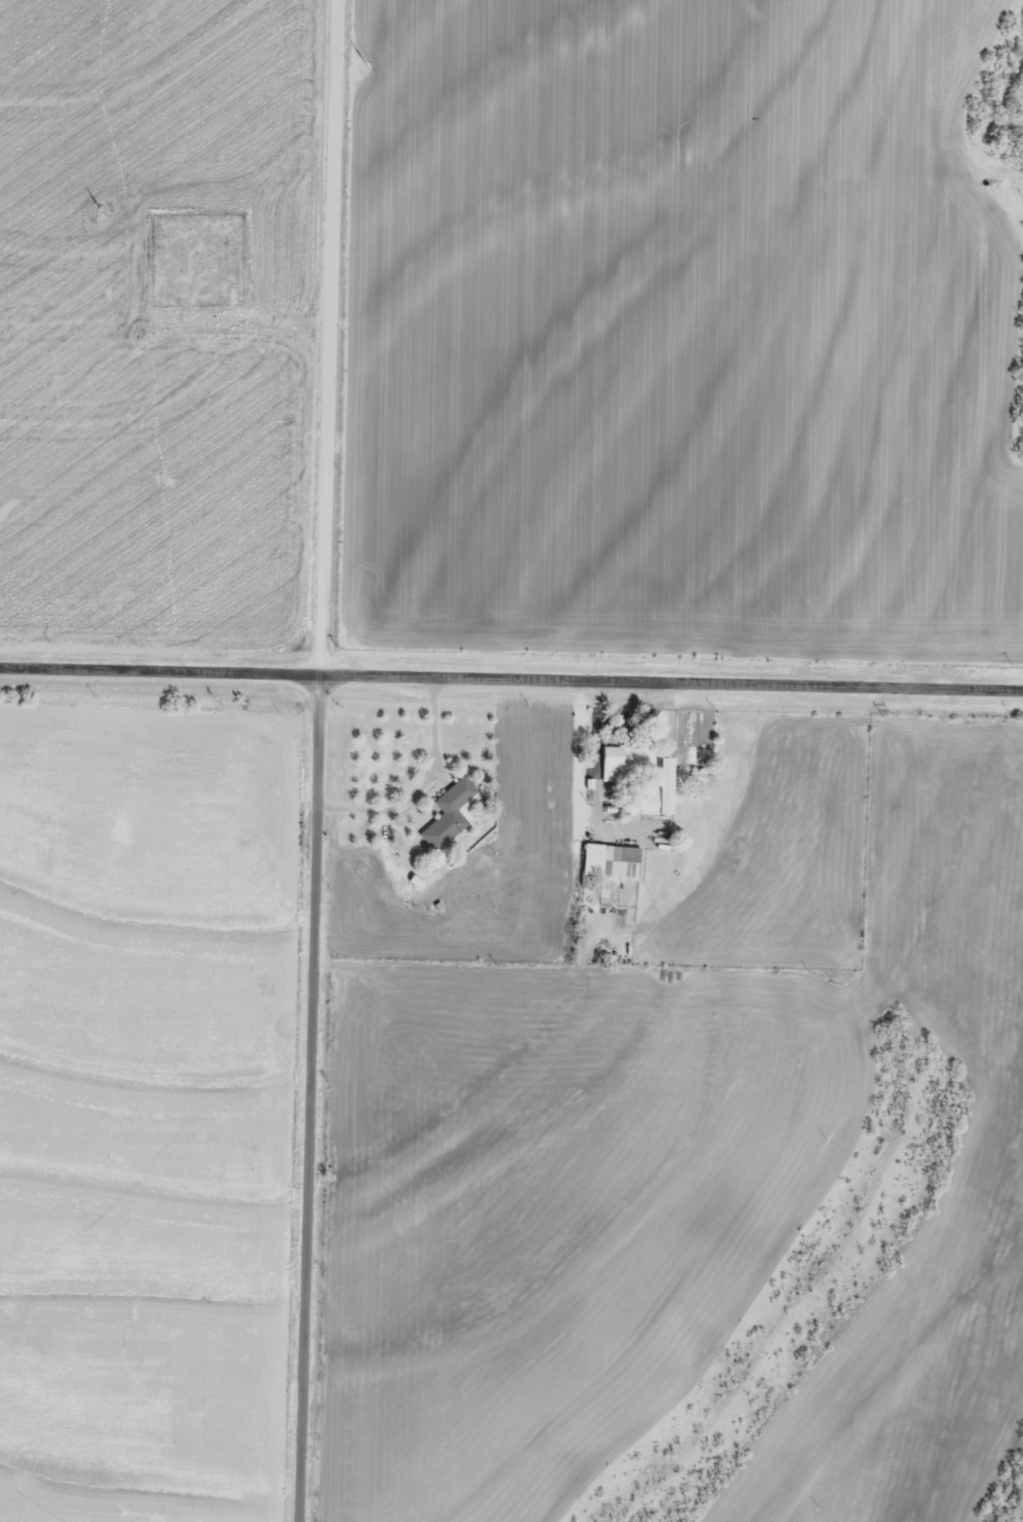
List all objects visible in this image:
power tower: (367, 66)
power tower: (102, 213)
park: (195, 259)
road: (511, 677)
road: (319, 760)
building: (618, 763)
building: (657, 790)
building: (447, 813)
building: (606, 861)
road: (34, 1507)

